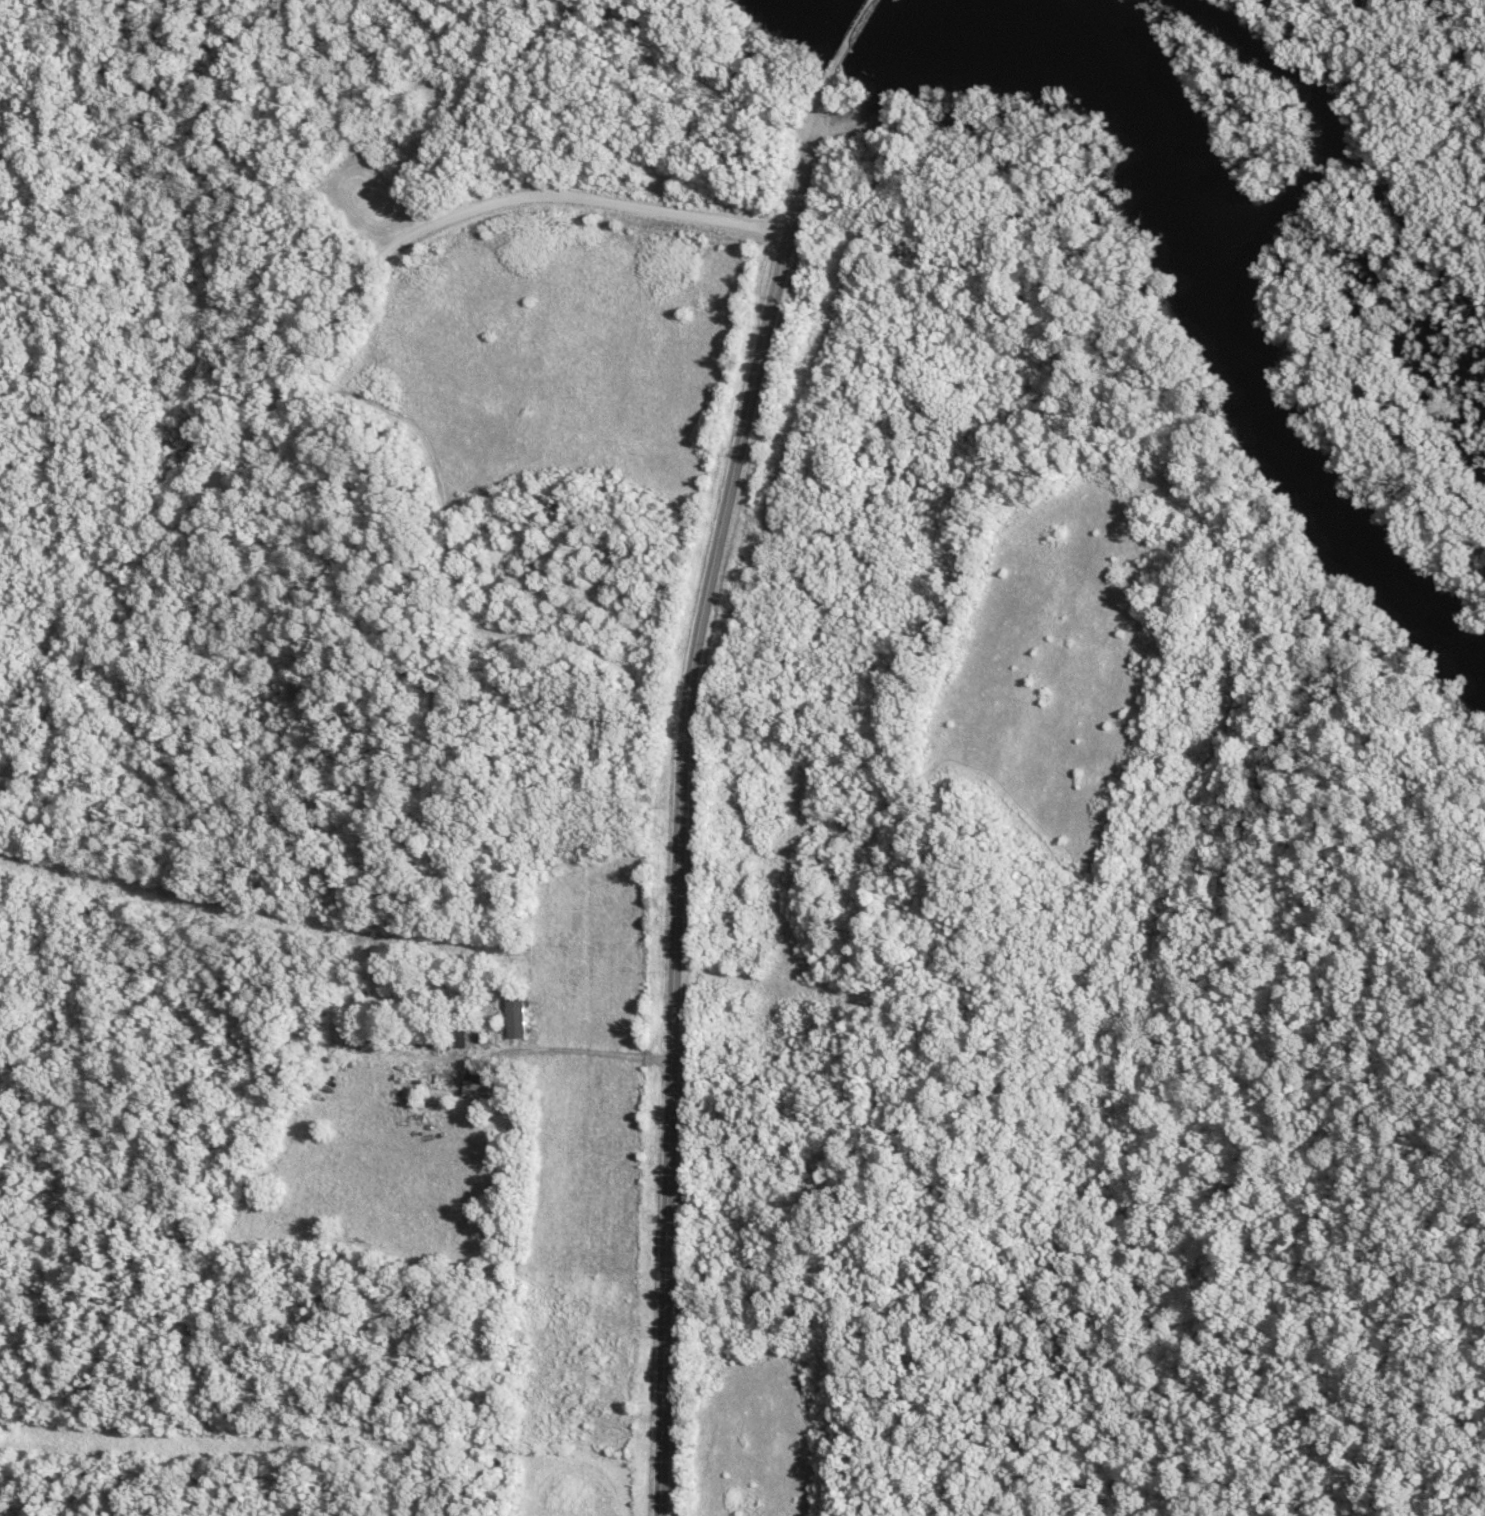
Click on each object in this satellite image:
road: (856, 34)
river: (1205, 245)
road: (313, 347)
road: (464, 599)
road: (679, 782)
building: (522, 1017)
road: (567, 1057)
building: (484, 1080)

